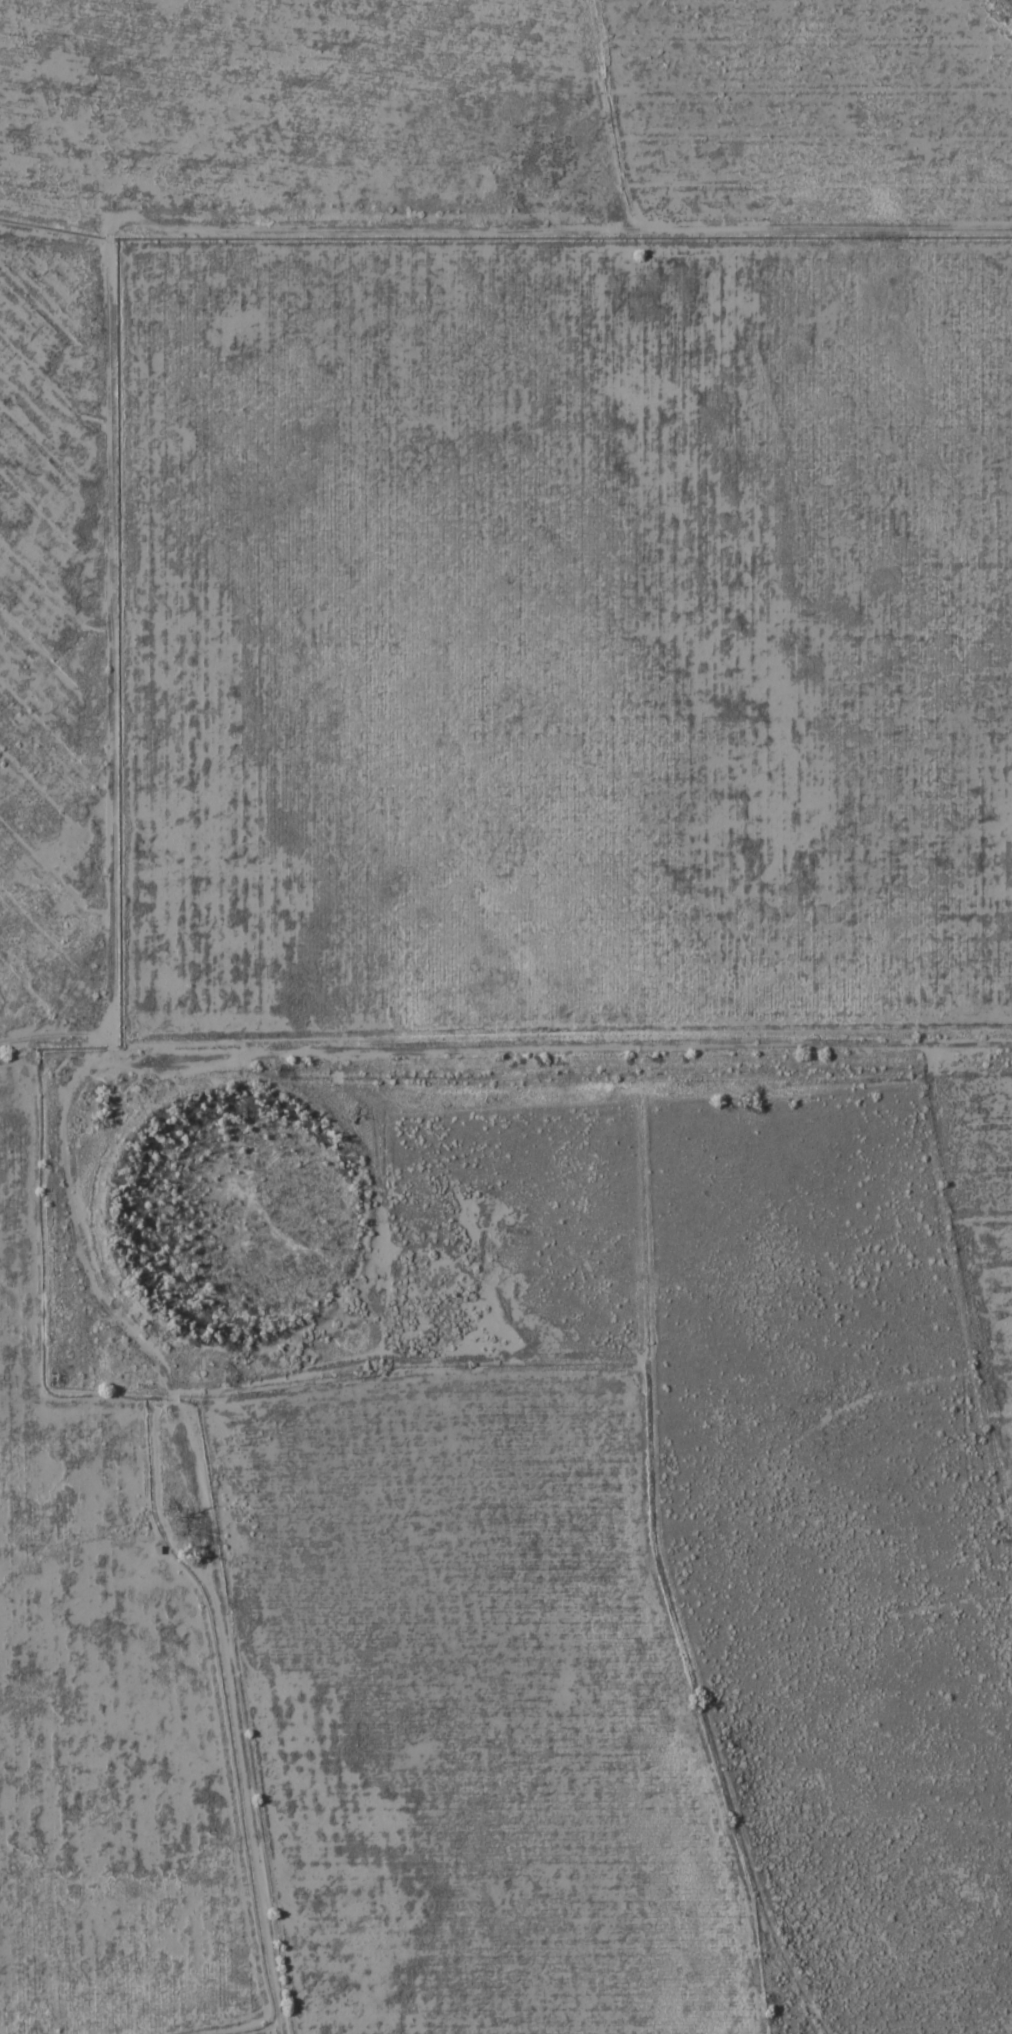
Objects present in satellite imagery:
road: (661, 1041)

